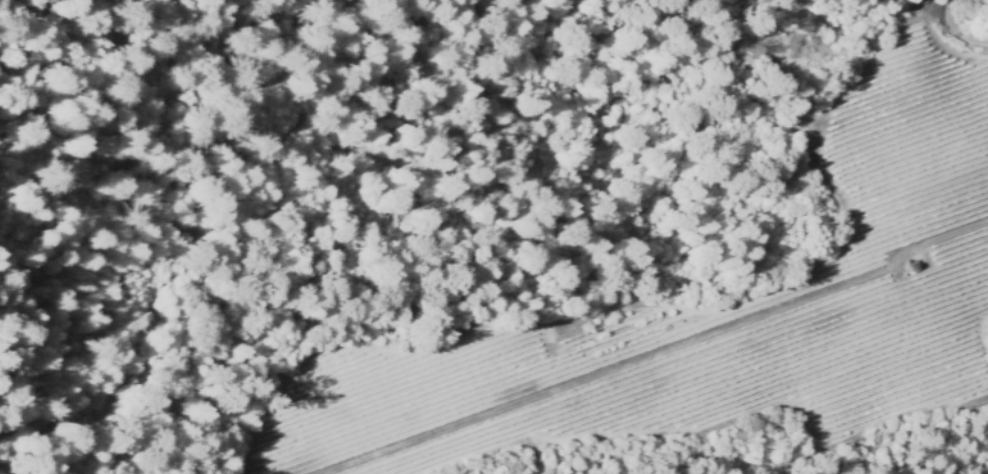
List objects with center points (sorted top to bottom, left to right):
building: (915, 267)

